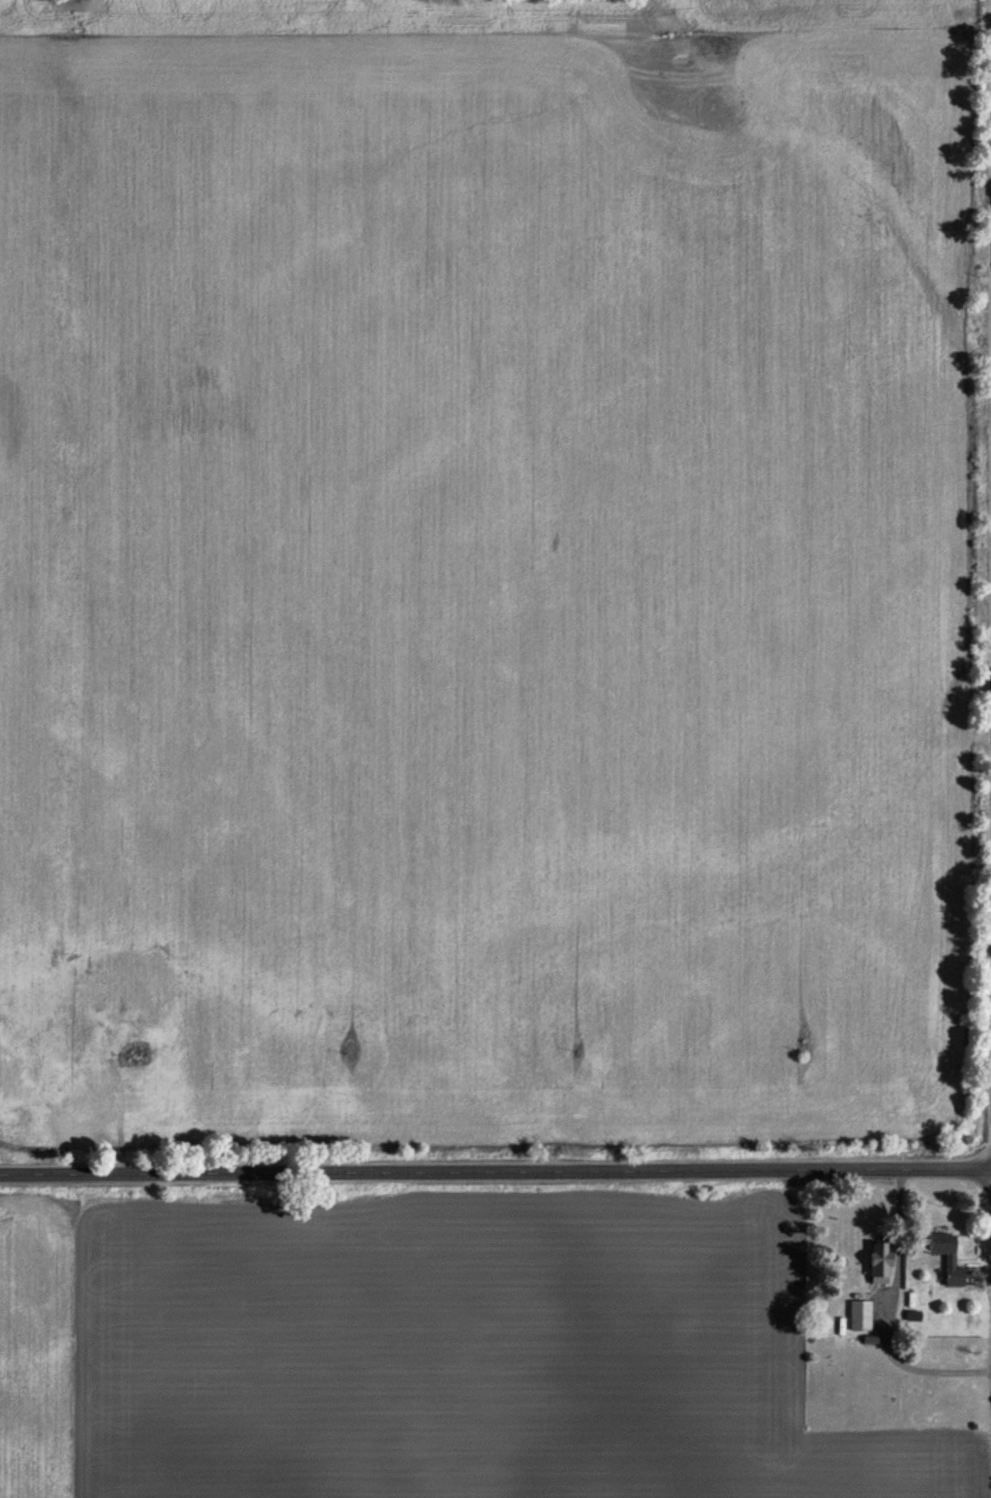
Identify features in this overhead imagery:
building: (126, 1017)
building: (28, 1019)
building: (74, 1037)
building: (8, 1060)
road: (495, 1173)
building: (944, 1260)
building: (875, 1267)
road: (883, 1316)
building: (858, 1319)

